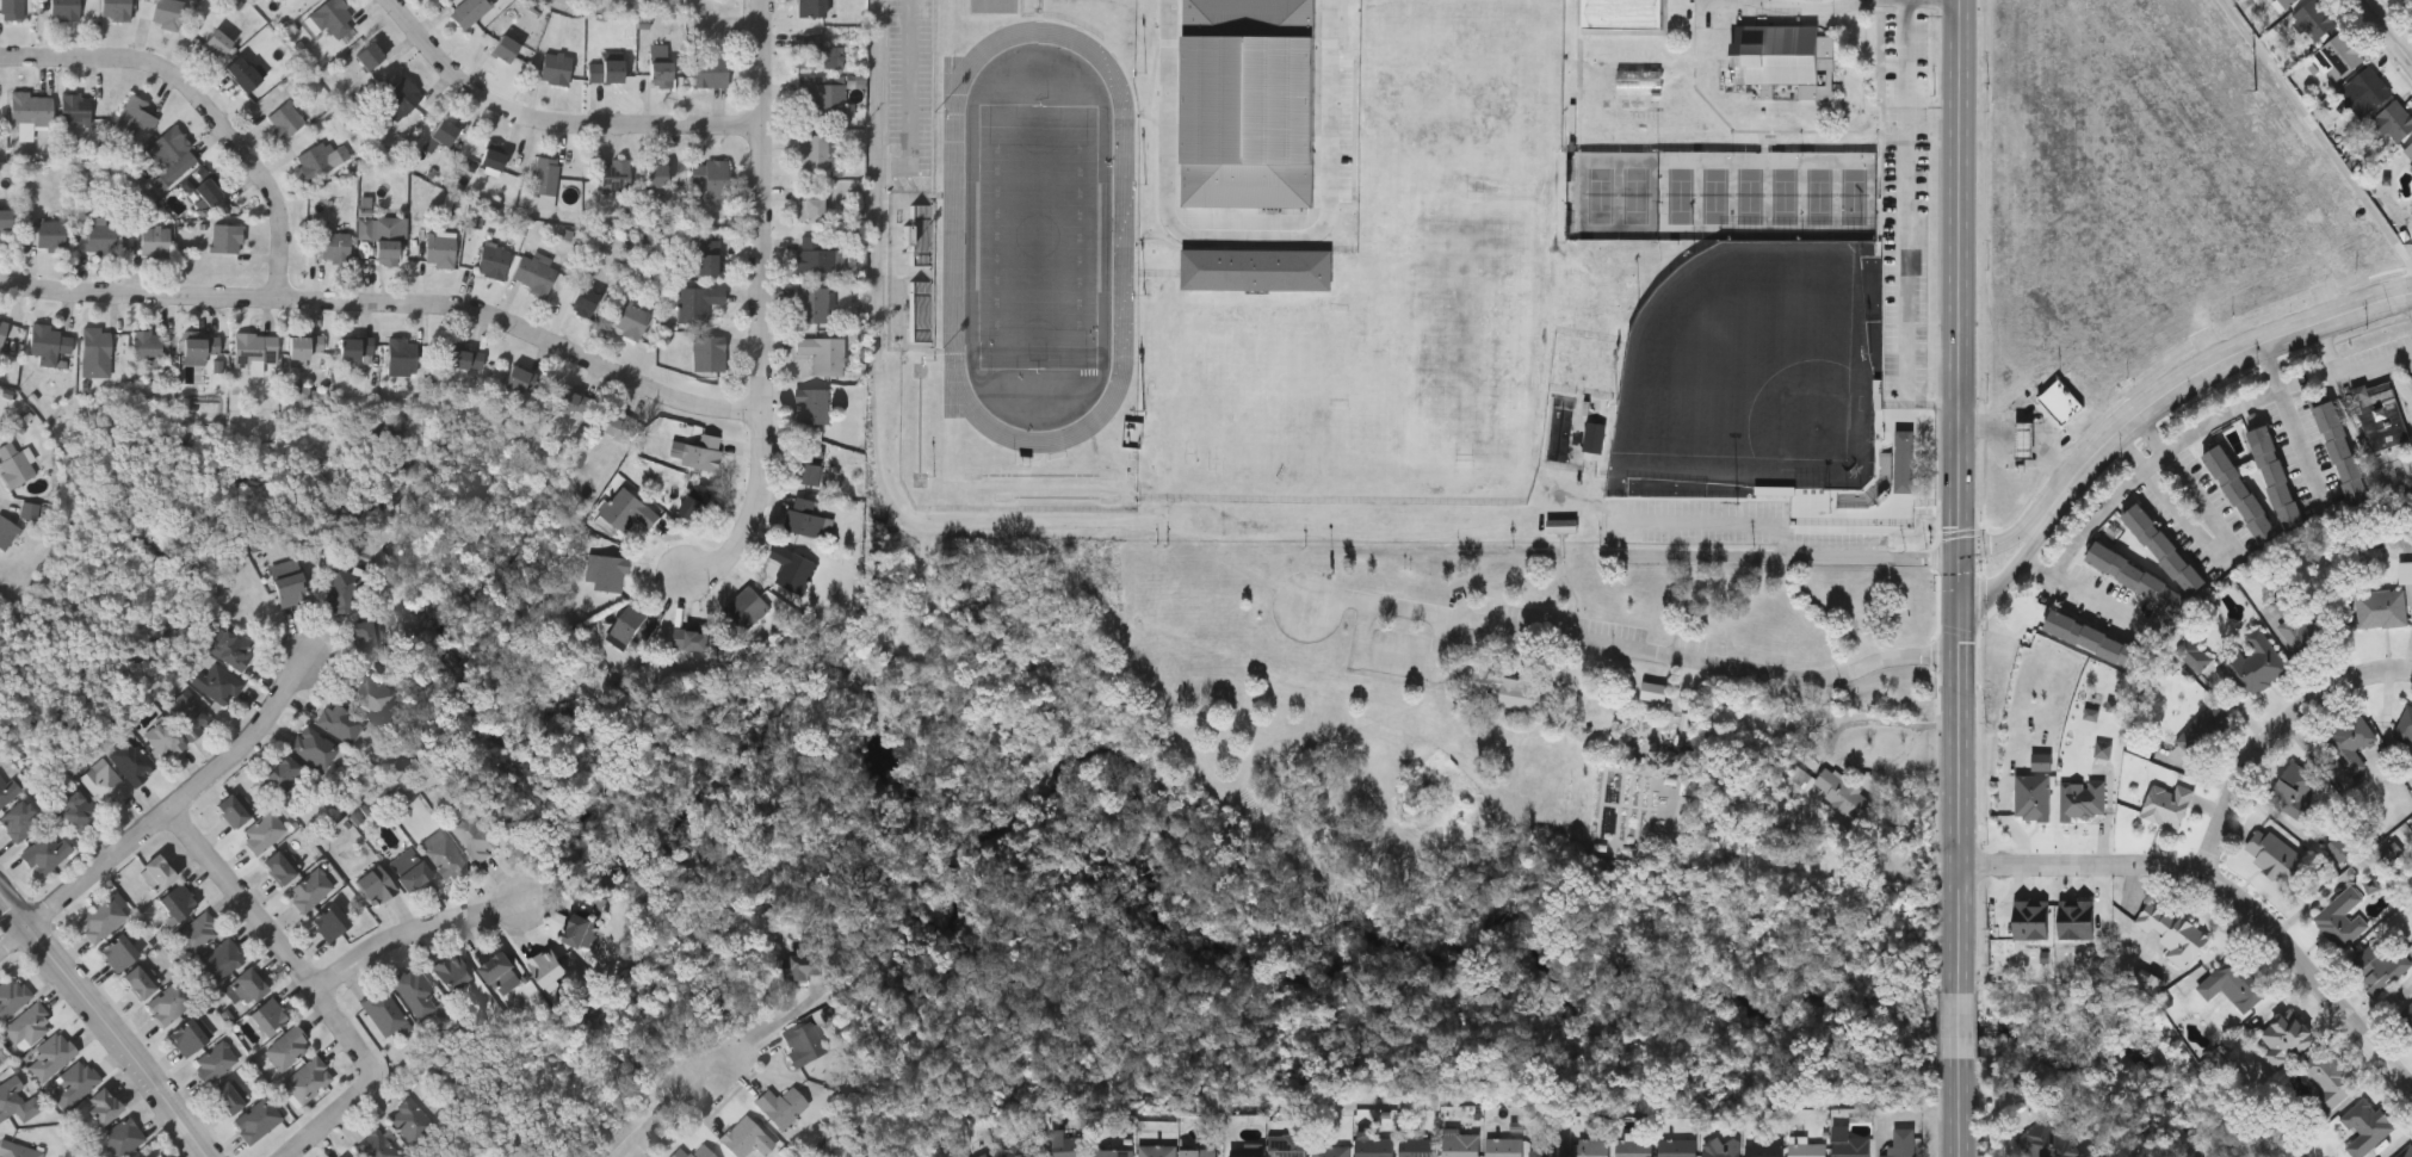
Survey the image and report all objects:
building: (289, 0)
building: (662, 0)
building: (2286, 1)
building: (2410, 1)
building: (810, 7)
building: (11, 8)
building: (62, 8)
building: (115, 8)
road: (1817, 8)
building: (468, 11)
building: (166, 12)
building: (1624, 13)
building: (2313, 17)
building: (332, 18)
road: (2386, 30)
building: (214, 43)
building: (503, 48)
building: (660, 50)
building: (818, 51)
building: (2339, 51)
building: (367, 55)
building: (1786, 63)
building: (553, 67)
building: (709, 69)
building: (605, 70)
building: (241, 72)
building: (660, 72)
power tower: (2243, 88)
building: (2362, 89)
building: (823, 98)
road: (910, 99)
building: (398, 100)
road: (206, 104)
building: (1249, 104)
building: (30, 107)
building: (74, 107)
building: (134, 116)
building: (2394, 118)
building: (284, 119)
road: (556, 124)
building: (443, 131)
road: (2318, 132)
building: (166, 147)
building: (2408, 147)
building: (812, 151)
building: (493, 157)
building: (313, 160)
building: (2411, 168)
building: (655, 173)
building: (614, 174)
building: (544, 175)
building: (710, 177)
building: (163, 181)
building: (205, 191)
park: (1597, 193)
park: (1638, 193)
park: (1676, 193)
park: (1713, 193)
park: (1749, 193)
park: (1785, 193)
park: (1822, 194)
park: (1857, 194)
building: (546, 203)
building: (809, 203)
building: (4, 218)
road: (1907, 224)
park: (1037, 233)
building: (49, 235)
building: (921, 235)
building: (388, 236)
building: (94, 237)
building: (225, 237)
road: (1248, 237)
building: (154, 241)
building: (334, 246)
building: (439, 248)
building: (815, 255)
building: (706, 258)
building: (491, 260)
building: (1258, 268)
building: (533, 272)
building: (582, 299)
building: (695, 302)
road: (391, 304)
building: (810, 304)
road: (766, 305)
building: (921, 313)
building: (630, 321)
building: (2, 326)
building: (47, 342)
building: (97, 342)
building: (146, 347)
building: (198, 347)
building: (353, 347)
building: (302, 348)
building: (253, 351)
building: (818, 352)
building: (706, 353)
building: (400, 357)
building: (463, 359)
park: (1756, 369)
road: (2202, 370)
road: (2350, 372)
building: (518, 379)
building: (309, 395)
building: (570, 403)
building: (2058, 403)
road: (2244, 403)
building: (812, 404)
building: (2380, 414)
road: (2033, 417)
building: (614, 425)
road: (2151, 432)
building: (1595, 437)
building: (2024, 438)
road: (2301, 444)
road: (2133, 447)
building: (698, 451)
building: (2342, 451)
road: (2156, 459)
building: (1904, 460)
building: (13, 464)
road: (886, 470)
building: (811, 472)
building: (2276, 476)
building: (2240, 491)
road: (1961, 496)
building: (695, 501)
building: (626, 509)
building: (30, 511)
road: (2095, 513)
building: (803, 518)
building: (6, 532)
road: (2002, 540)
traffic signals: (1961, 543)
building: (2164, 547)
road: (2225, 550)
road: (1674, 556)
building: (791, 565)
building: (607, 569)
building: (2405, 571)
building: (2135, 575)
road: (2005, 577)
road: (2089, 589)
building: (289, 590)
building: (338, 592)
building: (248, 605)
building: (746, 607)
building: (2380, 608)
parking lot: (1566, 621)
building: (2300, 623)
building: (631, 624)
traffic signals: (1960, 626)
building: (366, 637)
building: (691, 638)
building: (2095, 639)
parking lot: (1692, 644)
road: (1632, 649)
building: (230, 650)
building: (2193, 652)
parking lot: (1398, 654)
road: (1398, 655)
building: (2252, 663)
building: (217, 686)
building: (1513, 691)
building: (1655, 691)
building: (373, 694)
building: (188, 717)
building: (339, 723)
building: (2405, 724)
building: (2203, 728)
road: (1835, 735)
road: (2274, 736)
building: (2350, 736)
building: (162, 742)
building: (313, 749)
building: (2103, 749)
building: (131, 763)
building: (2041, 765)
building: (283, 775)
building: (104, 786)
building: (1833, 788)
building: (2293, 790)
building: (6, 791)
park: (1046, 792)
building: (2033, 798)
building: (2080, 798)
building: (2166, 802)
building: (76, 811)
building: (231, 812)
road: (163, 817)
building: (19, 822)
building: (262, 834)
building: (475, 837)
building: (2343, 846)
building: (47, 854)
building: (2274, 854)
building: (441, 856)
building: (277, 868)
building: (156, 874)
building: (414, 878)
road: (2227, 886)
building: (2371, 886)
building: (375, 887)
building: (309, 891)
building: (178, 903)
building: (2342, 917)
building: (2031, 918)
building: (2077, 918)
building: (100, 921)
building: (329, 923)
road: (415, 932)
building: (579, 933)
building: (2173, 933)
building: (197, 934)
road: (274, 935)
building: (118, 954)
building: (218, 963)
building: (804, 964)
building: (546, 967)
building: (2379, 967)
building: (499, 970)
building: (452, 975)
building: (2148, 980)
building: (2240, 980)
building: (140, 982)
building: (246, 989)
building: (416, 992)
building: (11, 997)
building: (169, 1003)
building: (383, 1014)
building: (2406, 1017)
building: (267, 1019)
road: (109, 1022)
road: (768, 1026)
road: (1960, 1027)
building: (27, 1028)
building: (190, 1037)
building: (2286, 1037)
building: (802, 1041)
building: (287, 1050)
building: (50, 1054)
building: (1, 1062)
building: (214, 1063)
building: (2328, 1077)
building: (308, 1082)
building: (73, 1085)
building: (227, 1100)
building: (16, 1102)
building: (780, 1105)
building: (101, 1108)
road: (1960, 1108)
road: (670, 1114)
road: (339, 1115)
building: (256, 1121)
building: (410, 1122)
building: (2365, 1126)
building: (746, 1137)
building: (122, 1138)
building: (2046, 1140)
building: (1901, 1141)
building: (1066, 1144)
building: (1287, 1144)
building: (1460, 1144)
building: (1850, 1144)
building: (1503, 1145)
building: (375, 1146)
building: (1020, 1146)
building: (1373, 1146)
building: (1416, 1146)
building: (1591, 1146)
building: (1634, 1146)
building: (1676, 1146)
building: (1720, 1146)
building: (1764, 1146)
building: (1546, 1147)
building: (1247, 1149)
building: (1807, 1149)
building: (1157, 1150)
building: (1330, 1150)
building: (16, 1151)
building: (692, 1151)
building: (1198, 1151)
building: (2405, 1151)
building: (1113, 1152)
building: (982, 1155)
building: (171, 1156)
building: (344, 1156)

